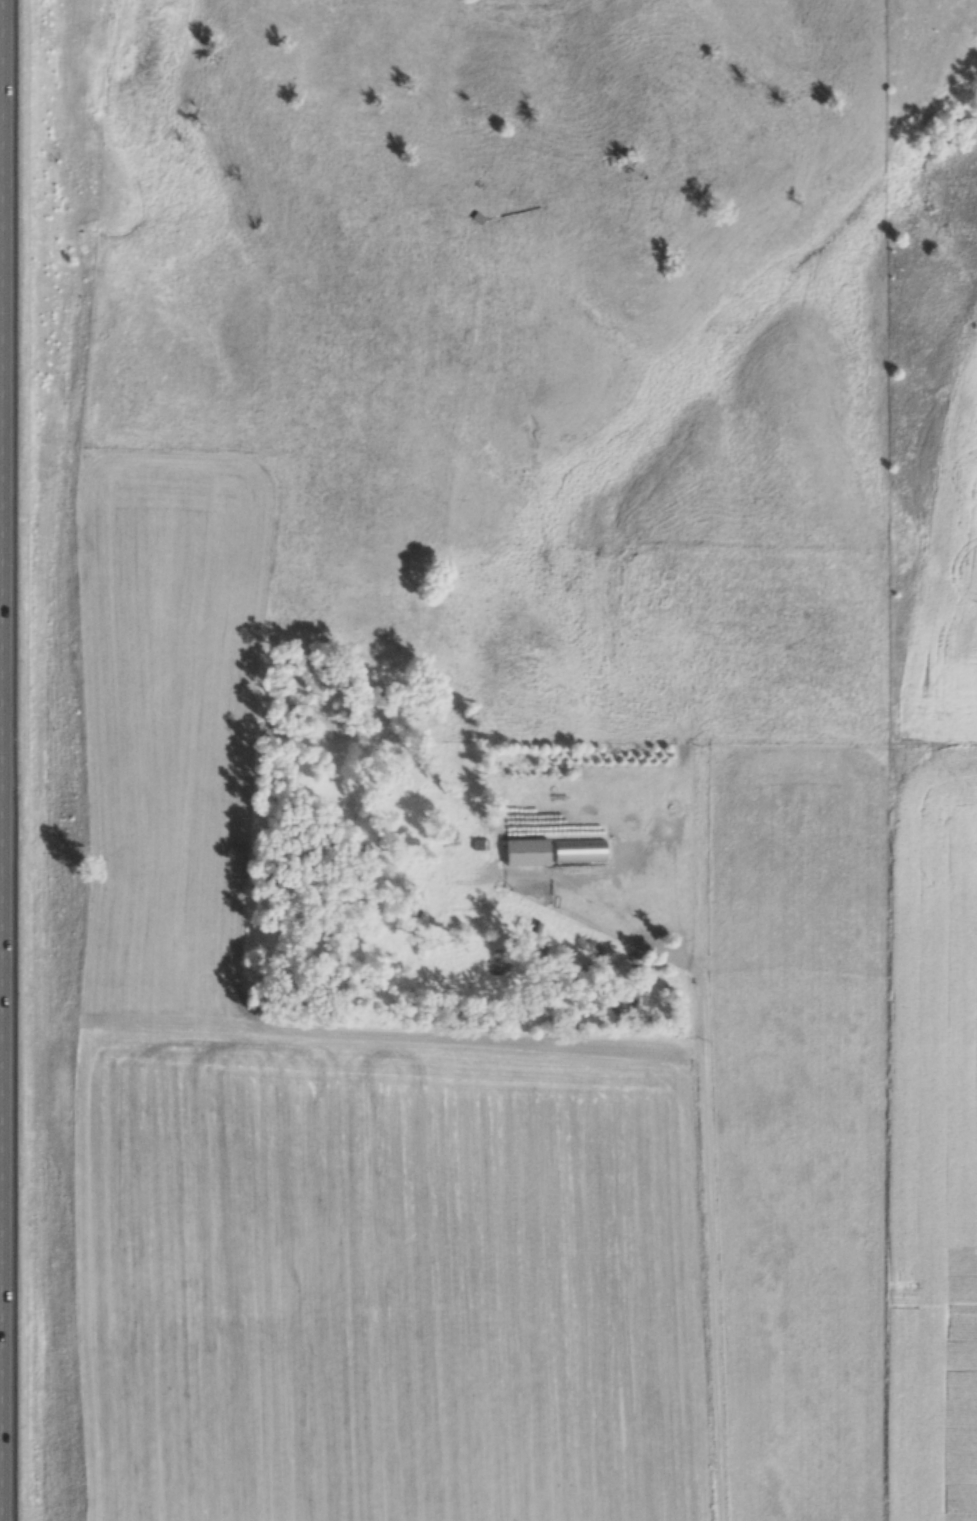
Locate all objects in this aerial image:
building: (575, 850)
building: (522, 851)
road: (712, 1234)

